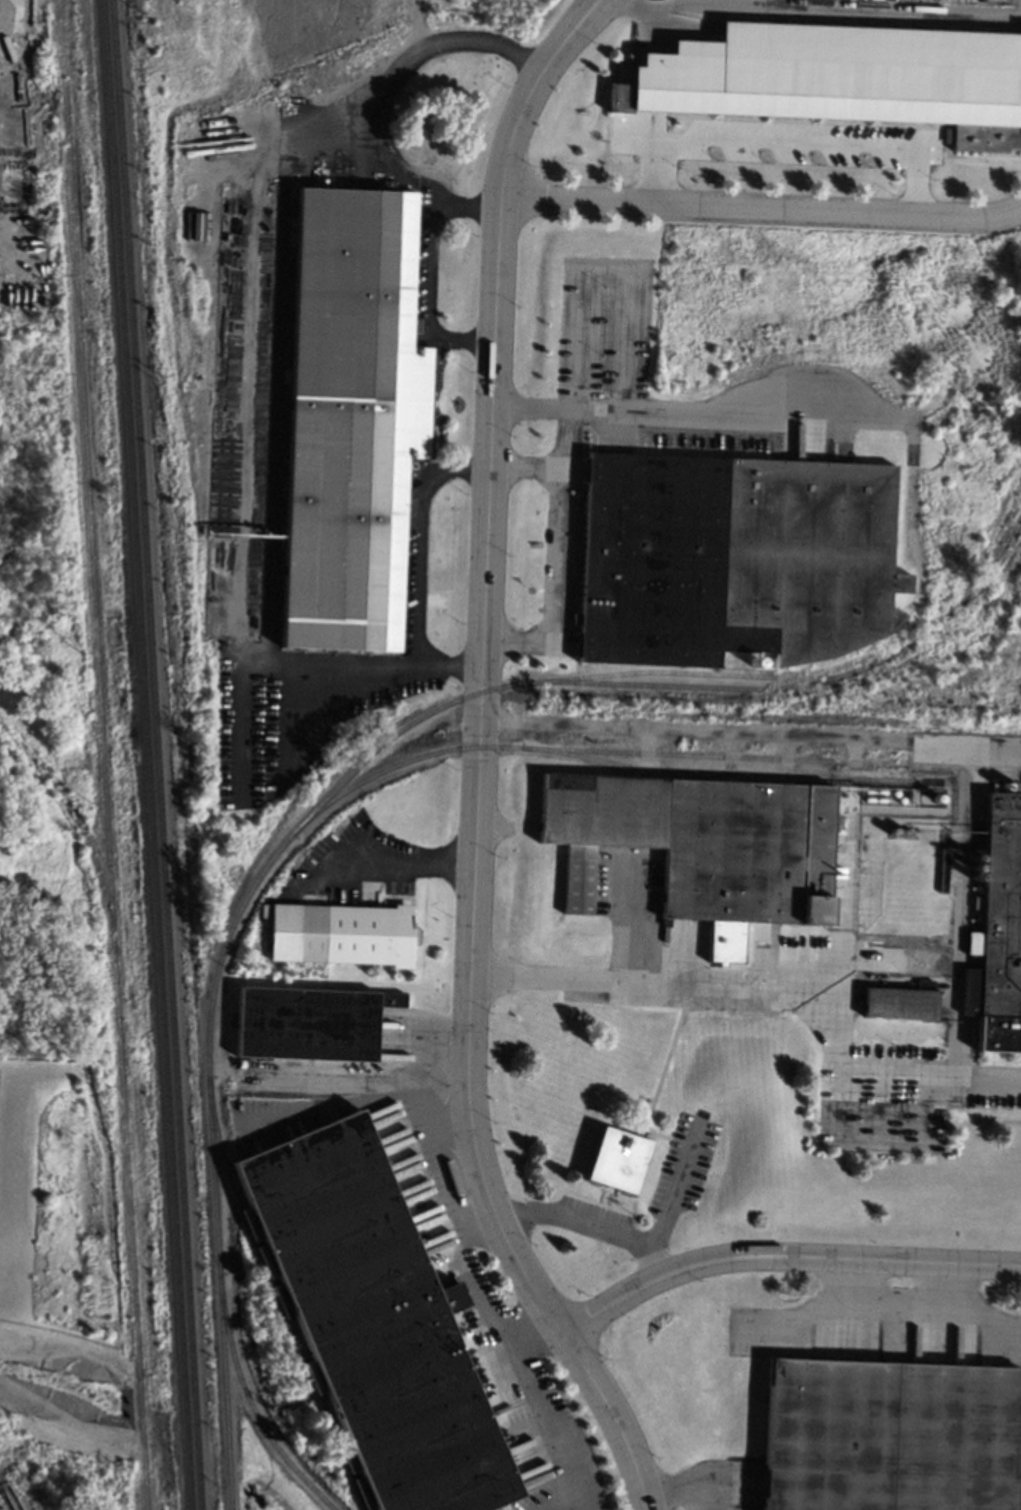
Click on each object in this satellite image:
road: (838, 6)
road: (643, 7)
road: (19, 35)
road: (394, 74)
building: (841, 78)
road: (787, 144)
road: (658, 174)
road: (914, 184)
road: (468, 204)
building: (198, 211)
road: (761, 212)
road: (434, 266)
road: (458, 343)
building: (349, 405)
road: (696, 411)
road: (525, 469)
road: (559, 558)
building: (733, 558)
road: (419, 572)
road: (258, 662)
railway: (813, 683)
road: (749, 732)
railway: (646, 752)
road: (647, 752)
railway: (146, 754)
railway: (155, 755)
road: (731, 756)
road: (786, 759)
road: (477, 762)
railway: (735, 773)
road: (966, 777)
building: (702, 846)
road: (351, 866)
road: (851, 866)
building: (942, 869)
railway: (244, 900)
building: (1001, 907)
building: (369, 934)
building: (882, 943)
road: (659, 986)
building: (969, 991)
building: (900, 1001)
building: (310, 1022)
road: (843, 1028)
road: (884, 1064)
road: (973, 1079)
road: (419, 1086)
road: (880, 1141)
building: (617, 1158)
road: (670, 1191)
road: (592, 1221)
road: (782, 1255)
road: (463, 1270)
railway: (279, 1295)
building: (375, 1321)
road: (534, 1401)
railway: (251, 1403)
building: (888, 1436)

